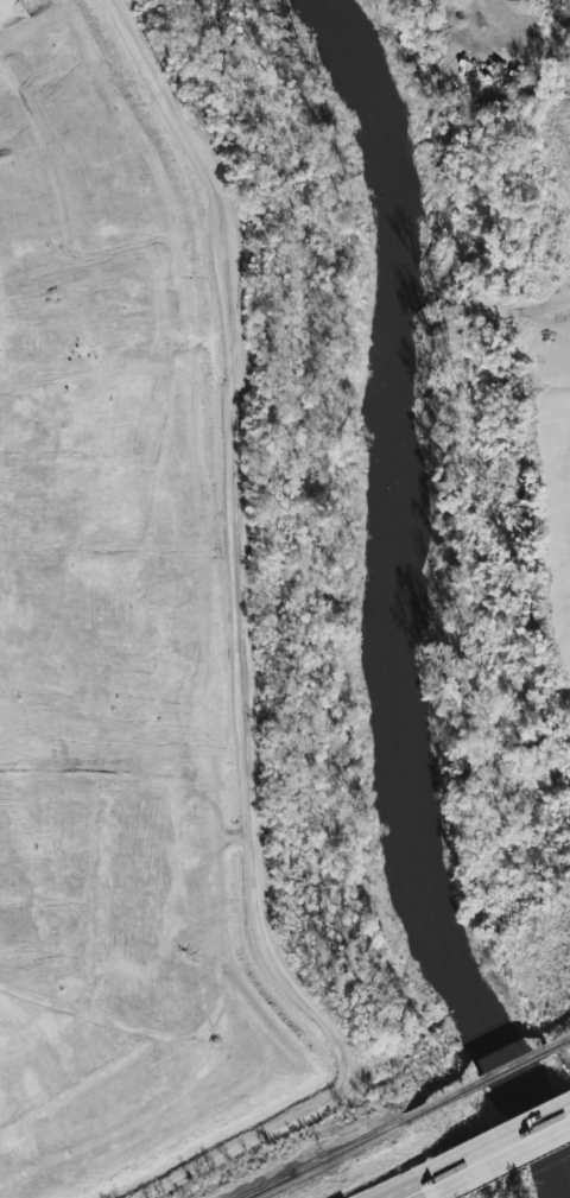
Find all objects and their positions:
river: (382, 600)
landfill: (116, 633)
road: (239, 658)
railway: (488, 1079)
railway: (351, 1147)
road: (505, 1149)
railway: (270, 1186)
railway: (272, 1186)
road: (422, 1190)

